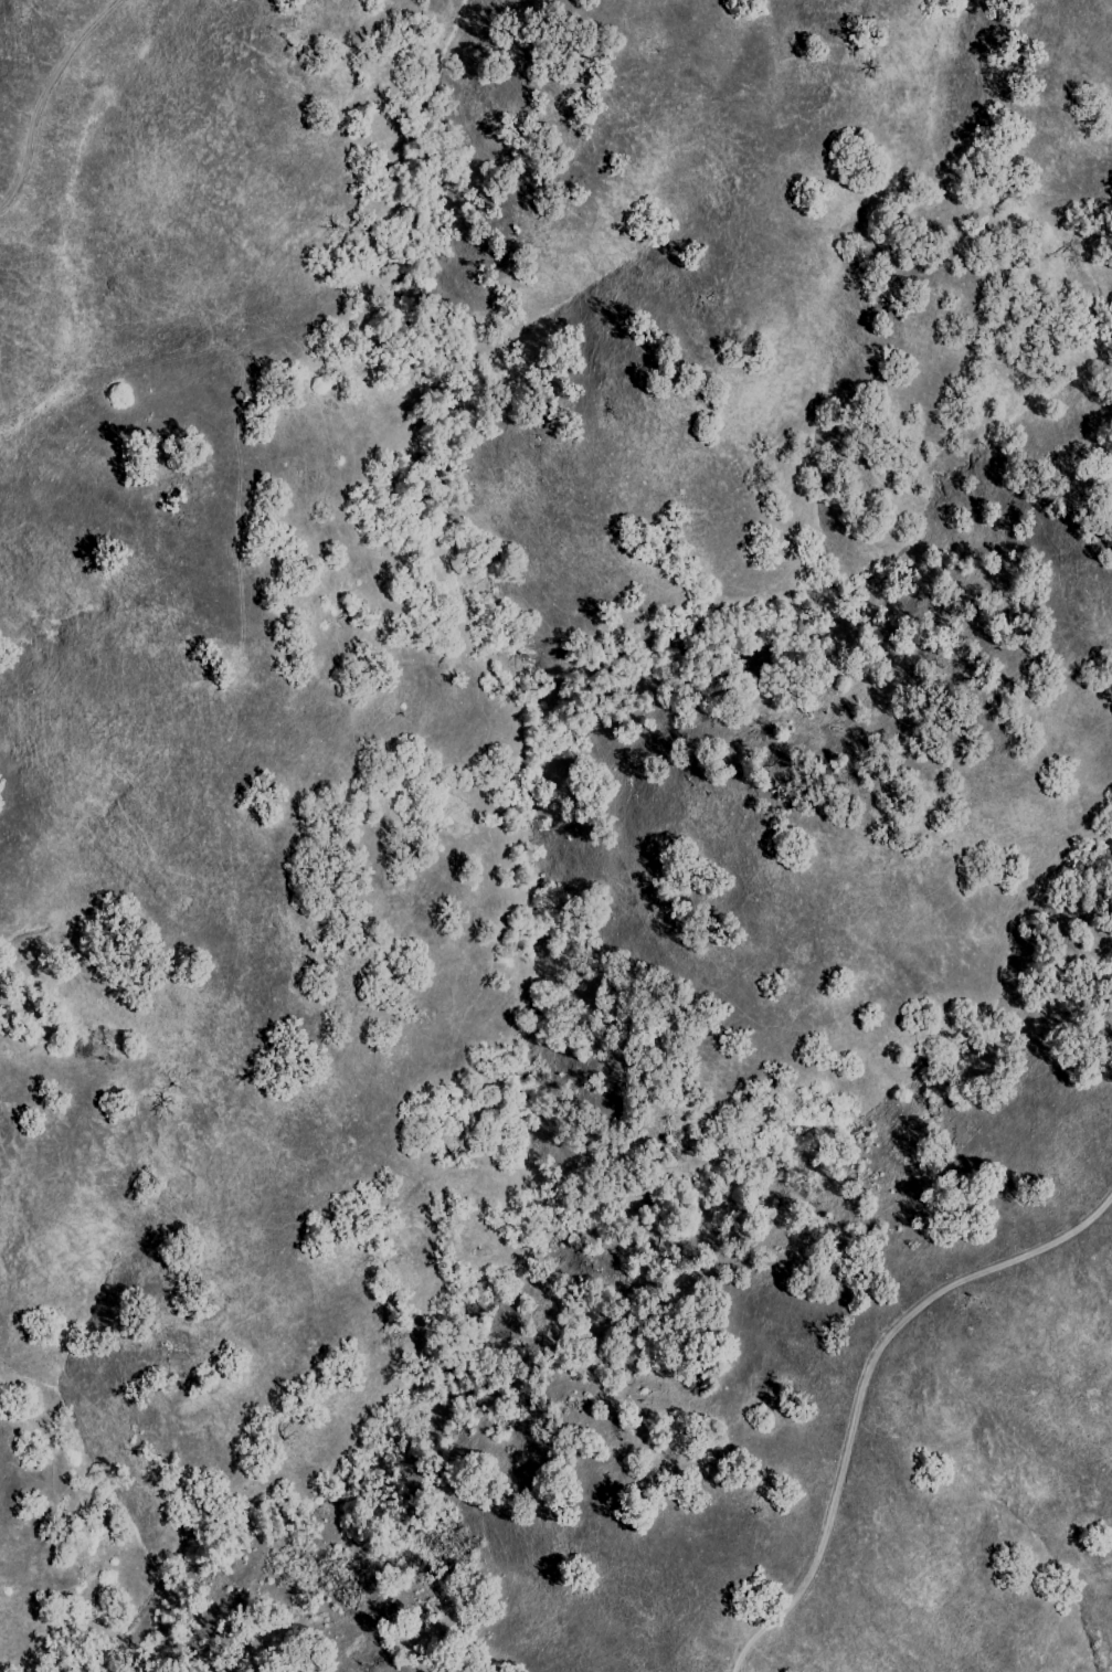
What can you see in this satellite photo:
road: (42, 92)
road: (864, 1385)

